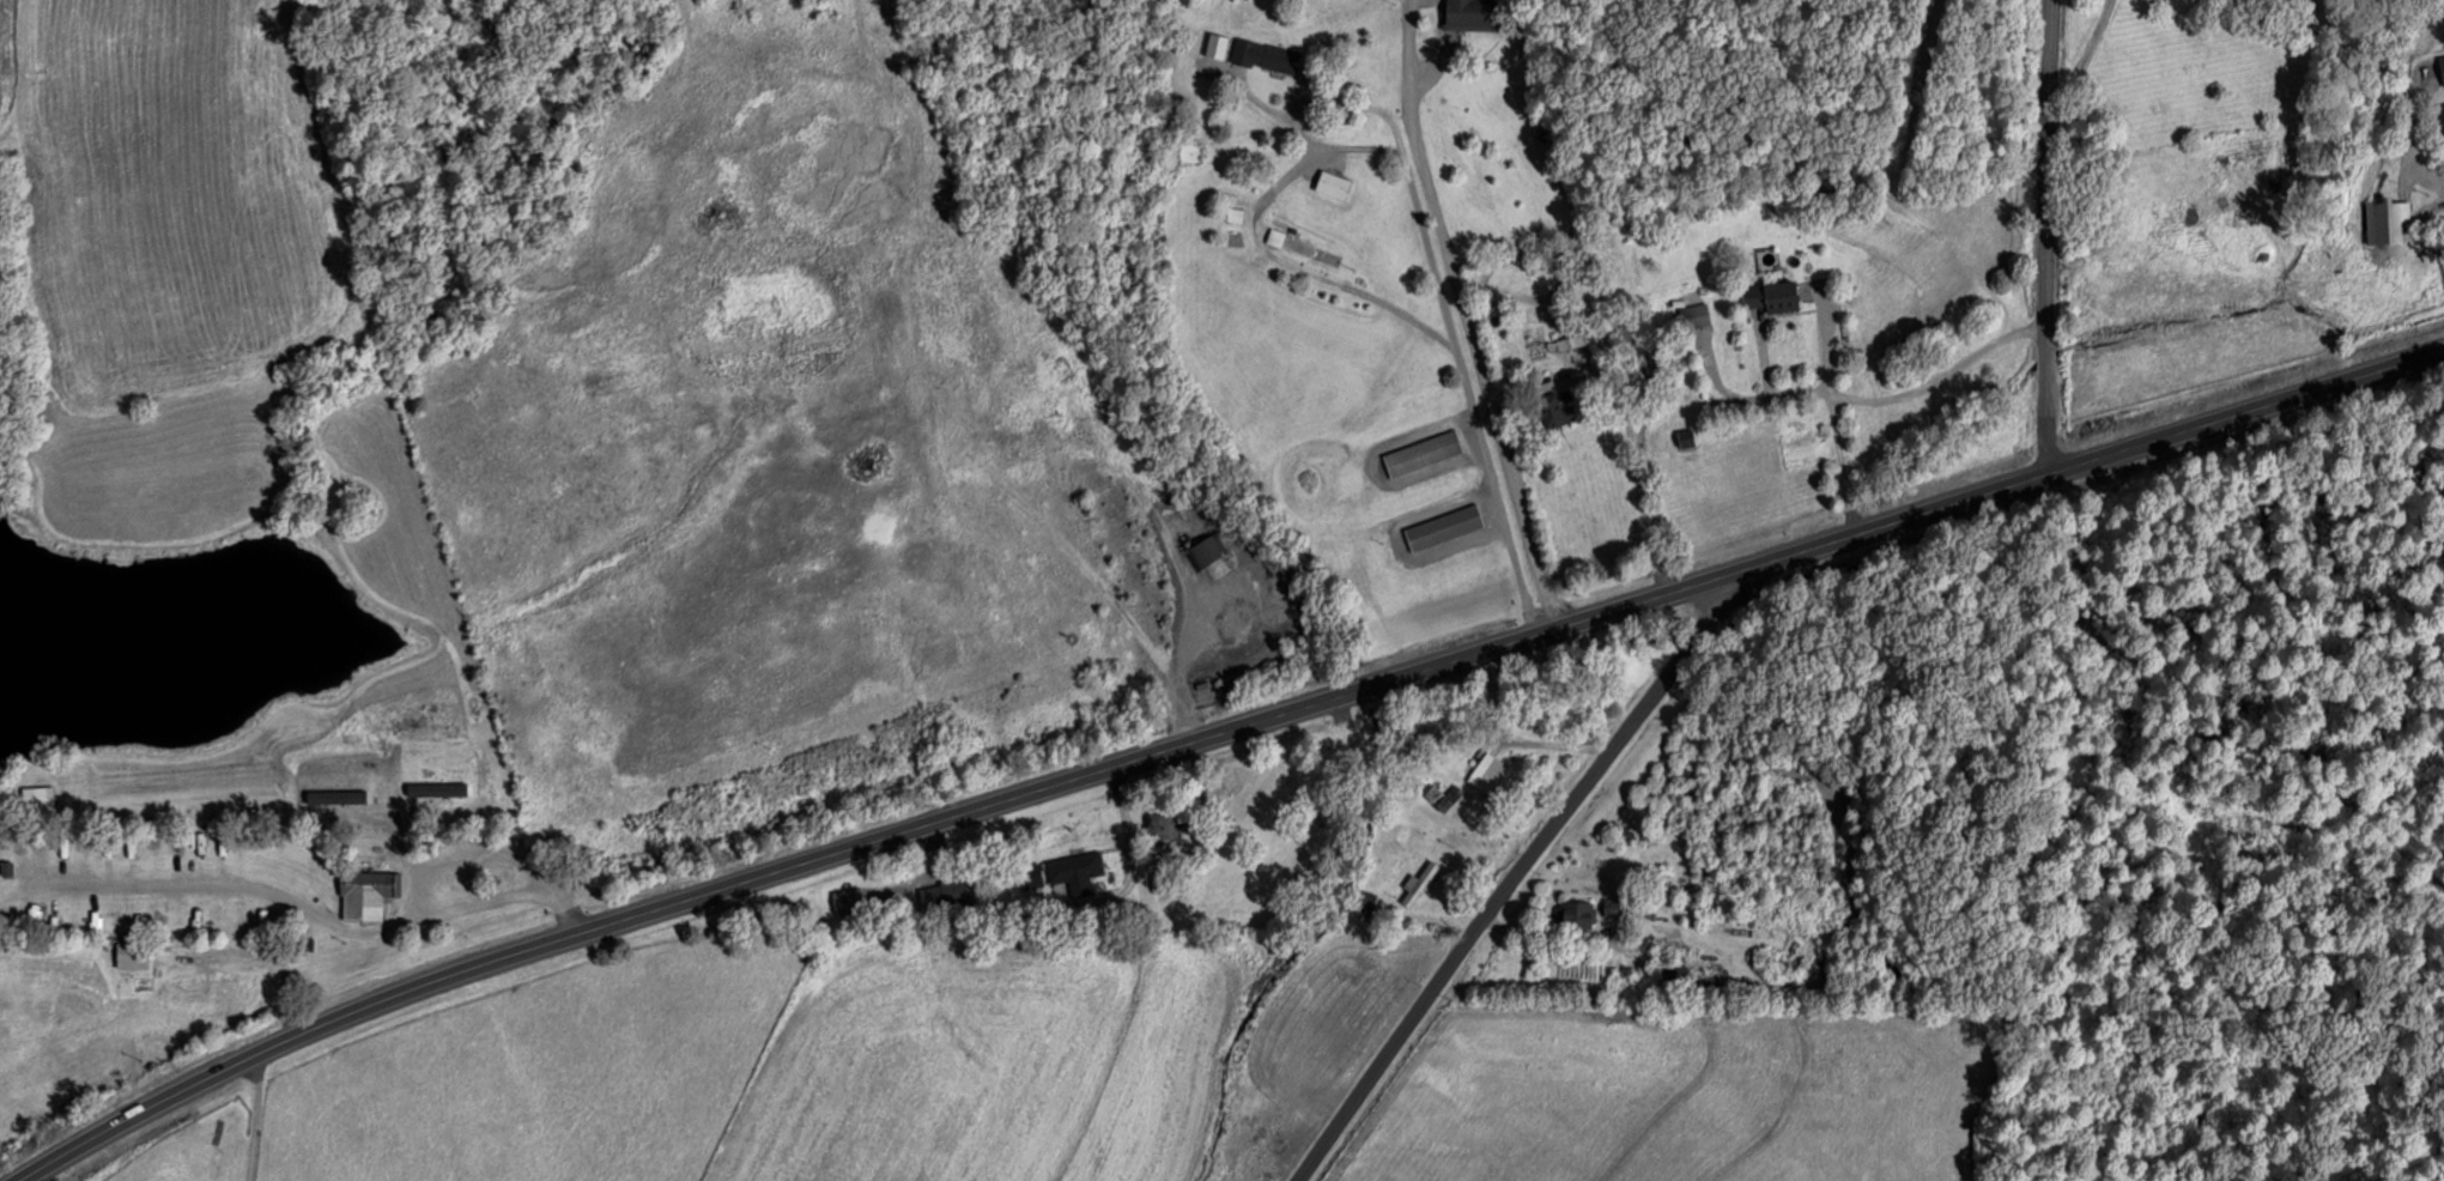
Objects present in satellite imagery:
building: (1469, 14)
building: (1263, 56)
building: (2440, 68)
building: (2443, 110)
building: (1330, 184)
building: (2384, 219)
road: (2044, 237)
building: (1302, 248)
building: (1771, 297)
road: (1463, 316)
building: (1692, 316)
building: (1552, 410)
road: (2246, 425)
building: (1420, 453)
building: (1442, 526)
building: (1491, 775)
road: (1019, 794)
building: (37, 797)
building: (255, 814)
building: (1162, 824)
building: (1072, 872)
building: (1030, 876)
building: (1419, 884)
building: (366, 894)
road: (1575, 897)
building: (845, 901)
building: (1576, 914)
building: (129, 956)

